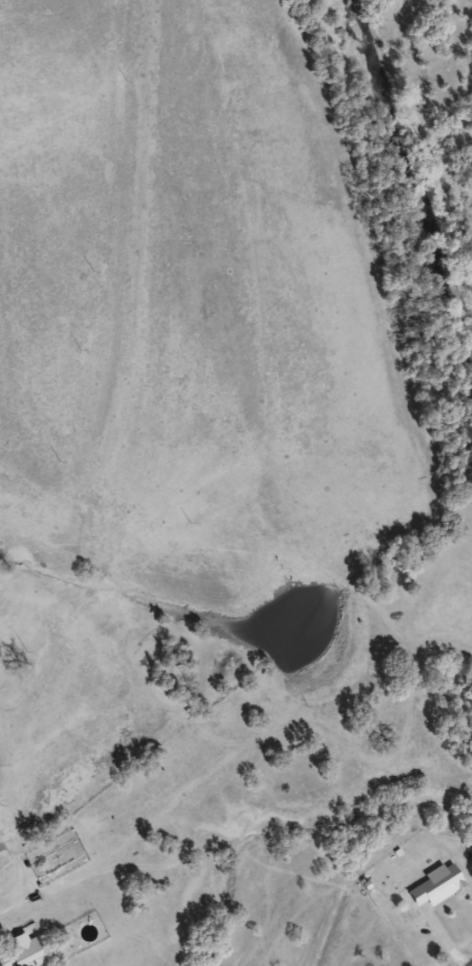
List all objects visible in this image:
building: (437, 886)
building: (24, 956)

